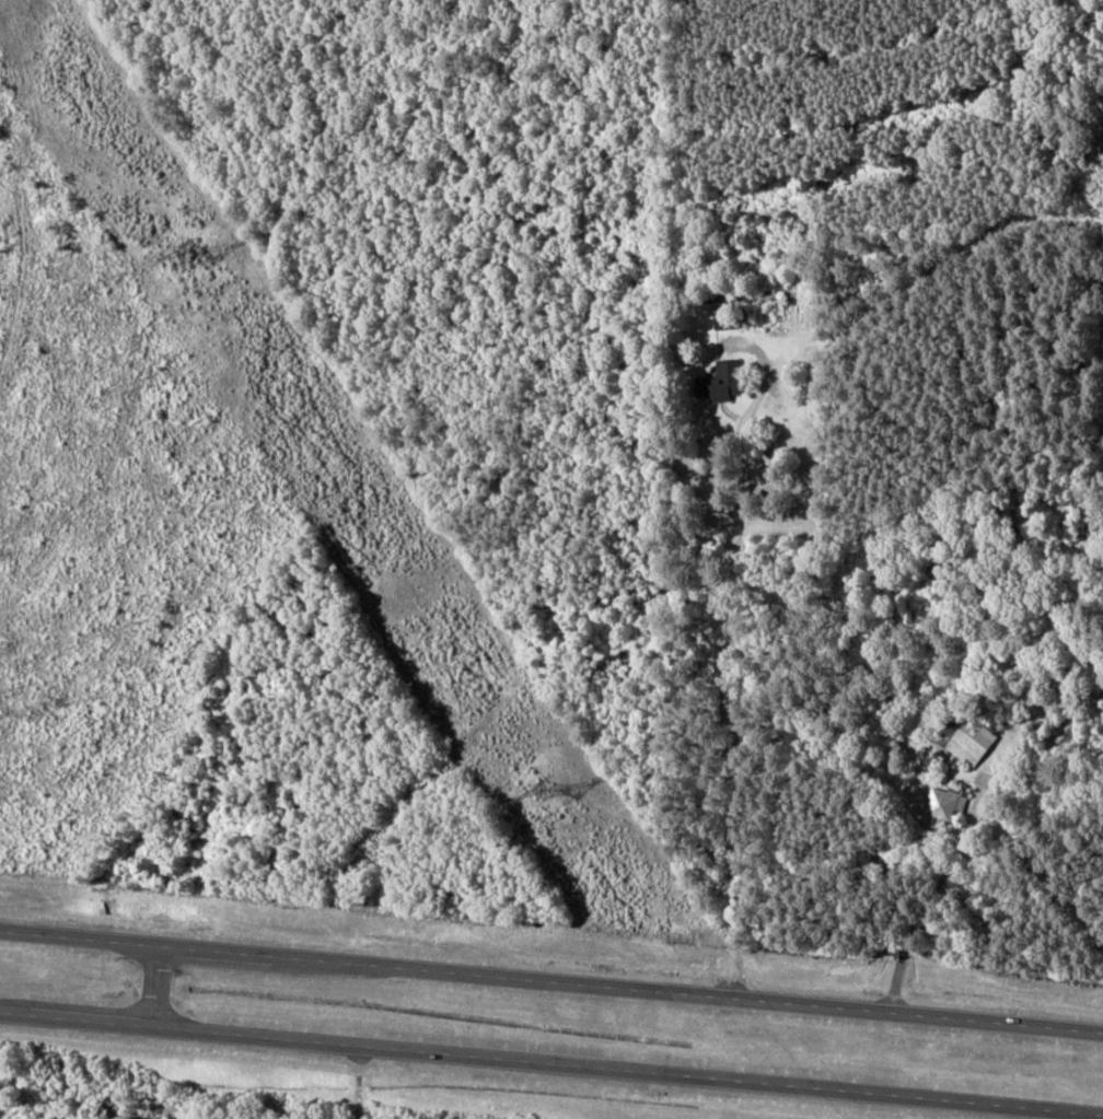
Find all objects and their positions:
power tower: (186, 252)
building: (730, 315)
building: (721, 382)
building: (971, 742)
power tower: (543, 792)
building: (944, 804)
road: (731, 877)
road: (289, 957)
road: (158, 986)
road: (840, 1007)
road: (550, 1063)

